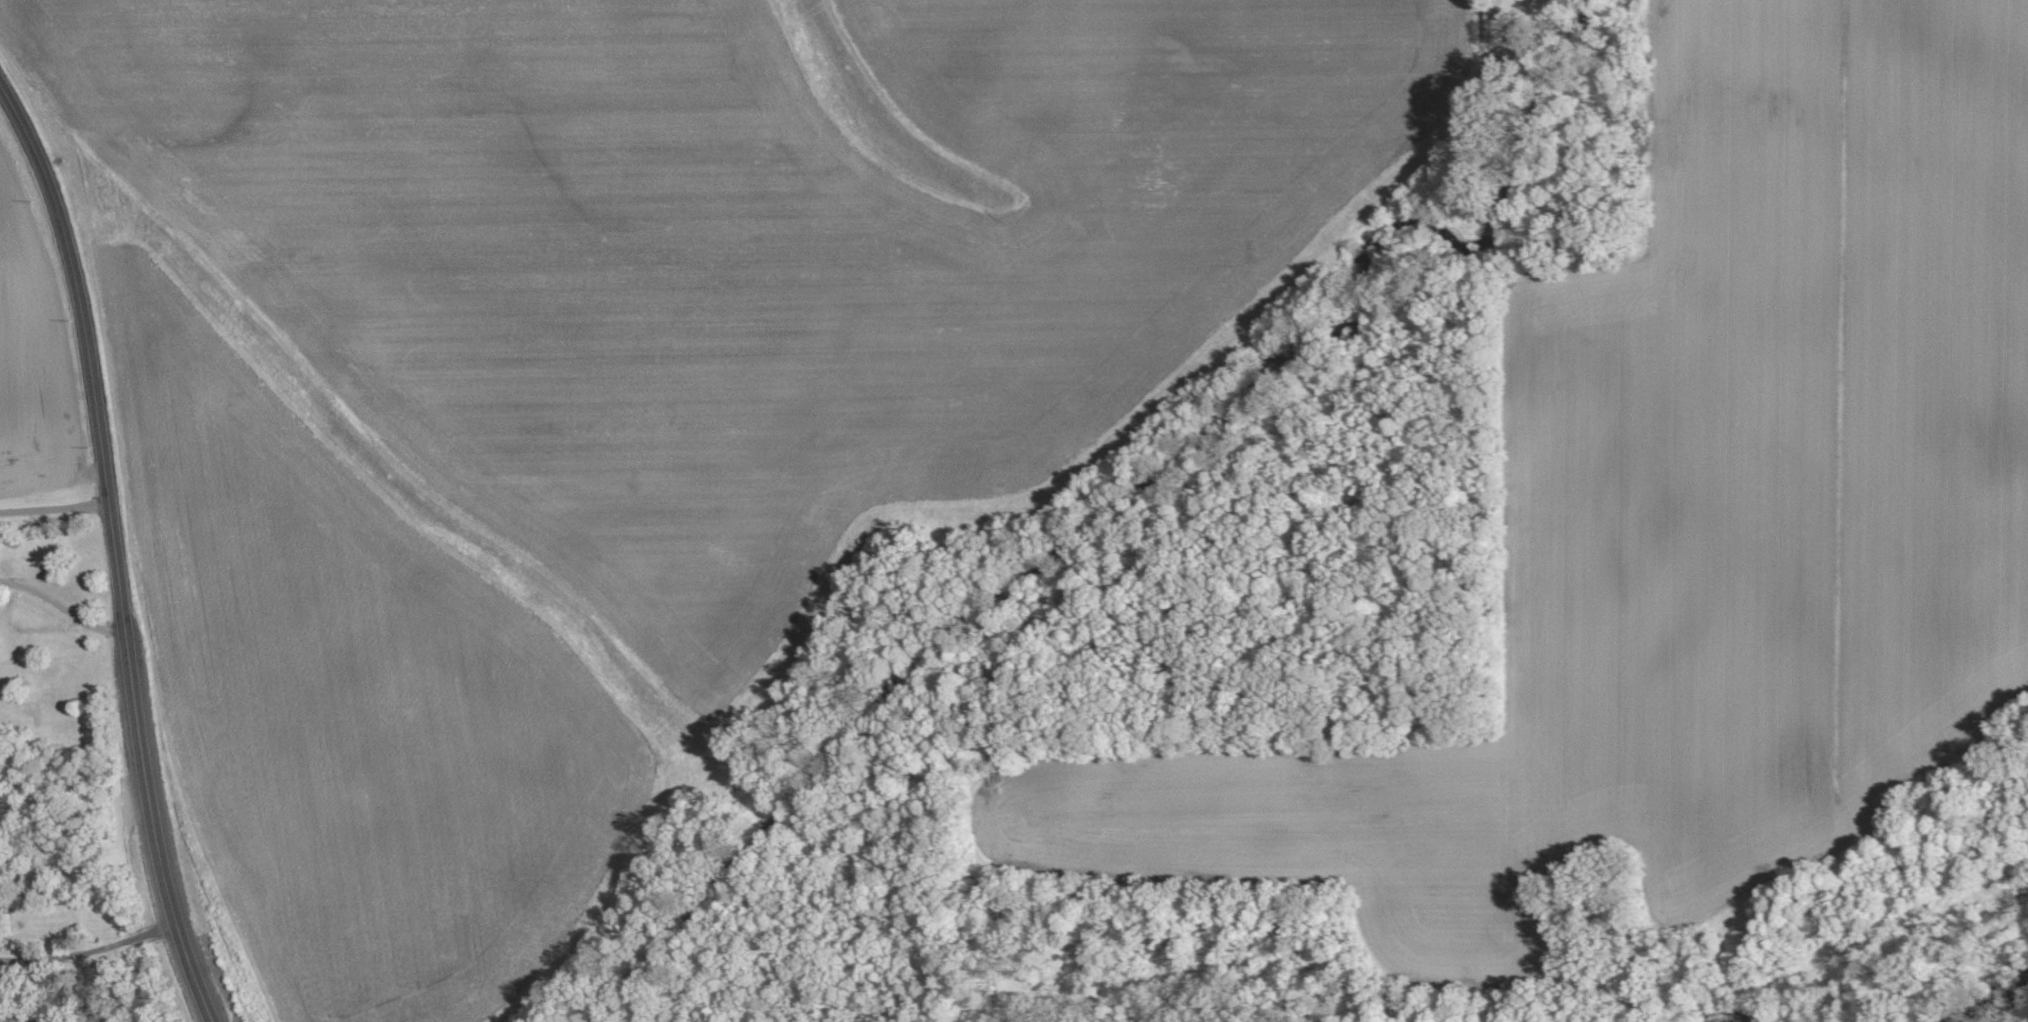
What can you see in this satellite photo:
building: (1489, 31)
road: (56, 509)
road: (117, 548)
road: (63, 609)
building: (2, 897)
road: (92, 952)

